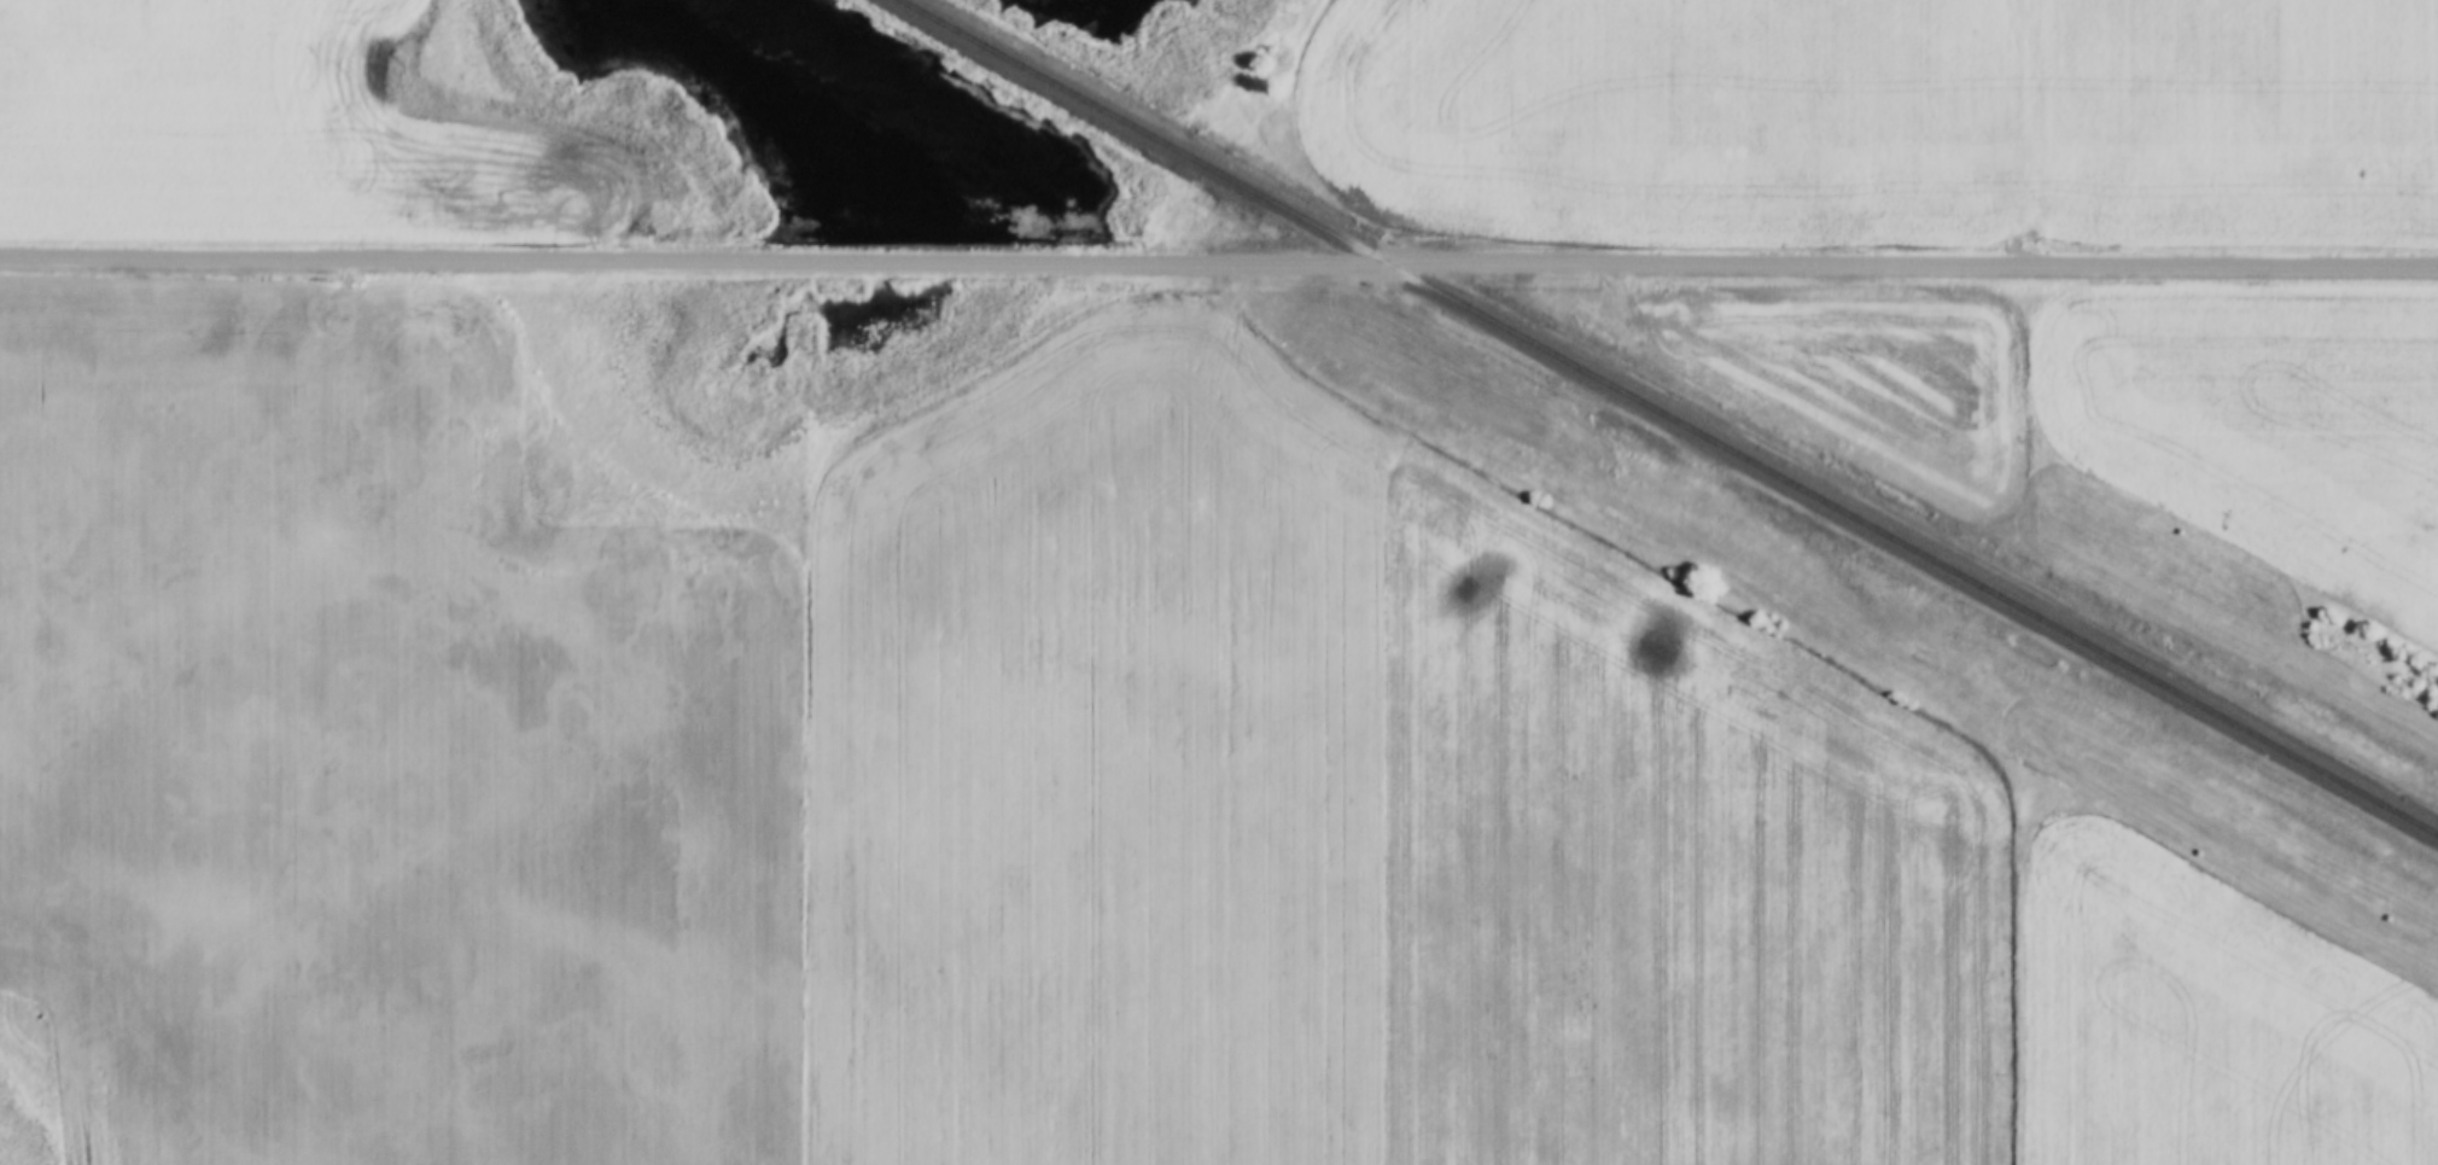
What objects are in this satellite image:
road: (1218, 257)
railway: (1673, 415)

